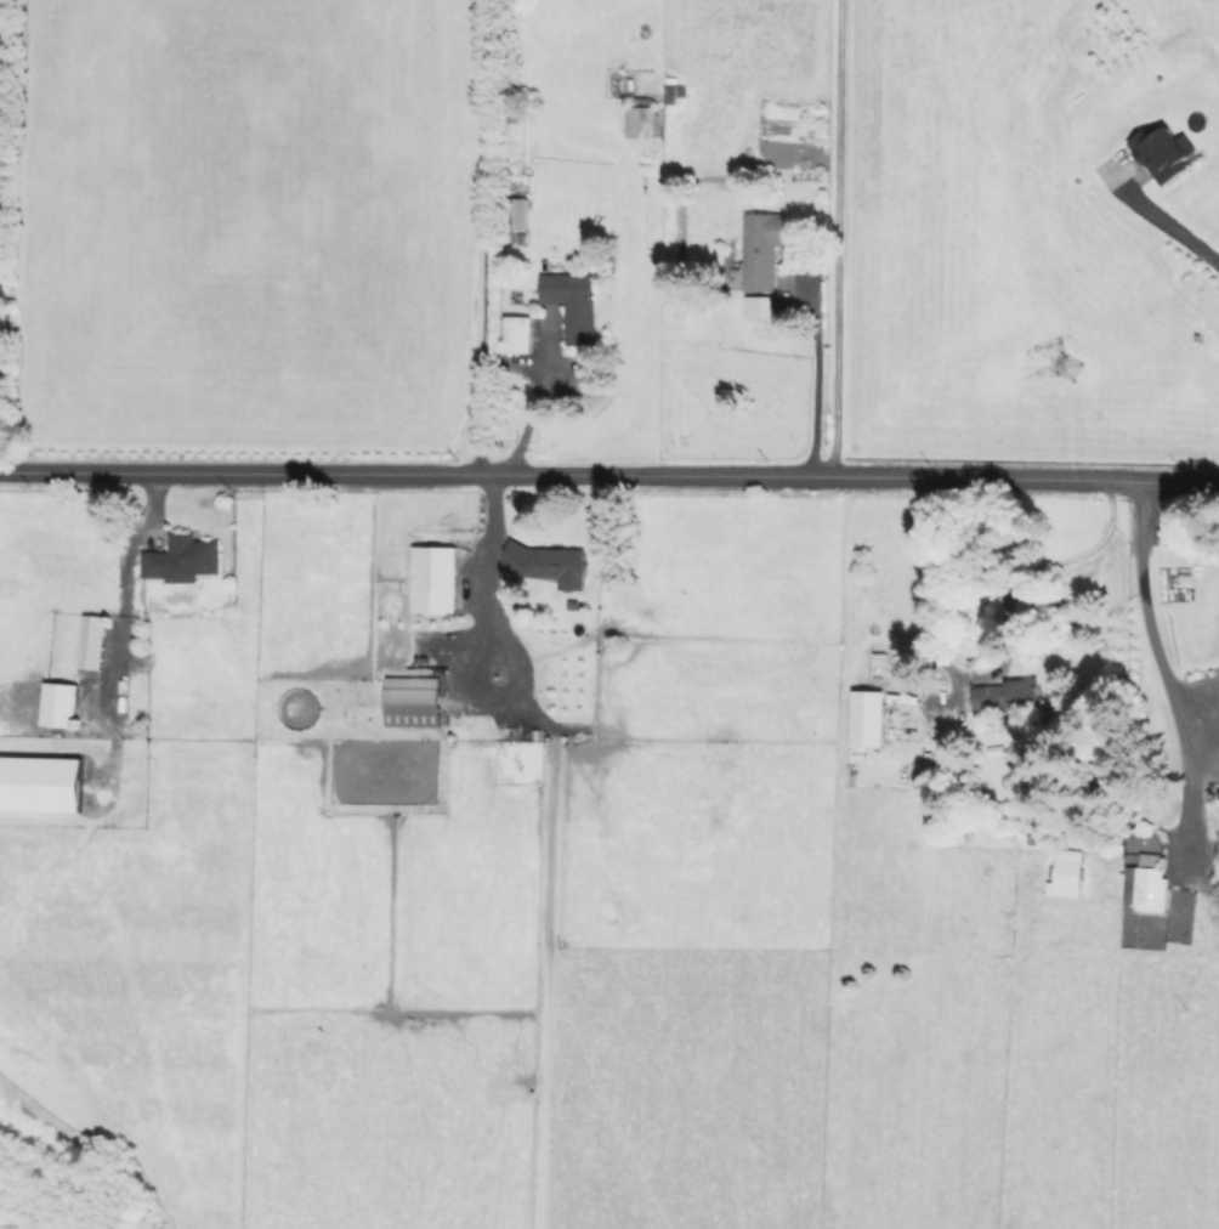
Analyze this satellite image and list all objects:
building: (671, 94)
building: (642, 123)
building: (1169, 152)
building: (517, 213)
road: (1162, 213)
road: (478, 238)
road: (830, 240)
building: (764, 249)
building: (573, 304)
building: (518, 333)
power tower: (1162, 358)
road: (809, 379)
road: (526, 406)
road: (609, 477)
building: (182, 559)
road: (1031, 561)
building: (548, 562)
building: (452, 571)
road: (494, 583)
road: (123, 624)
building: (579, 628)
building: (92, 645)
road: (1163, 670)
building: (1026, 692)
building: (414, 702)
building: (59, 707)
building: (871, 724)
building: (41, 785)
building: (1066, 873)
building: (1146, 884)

